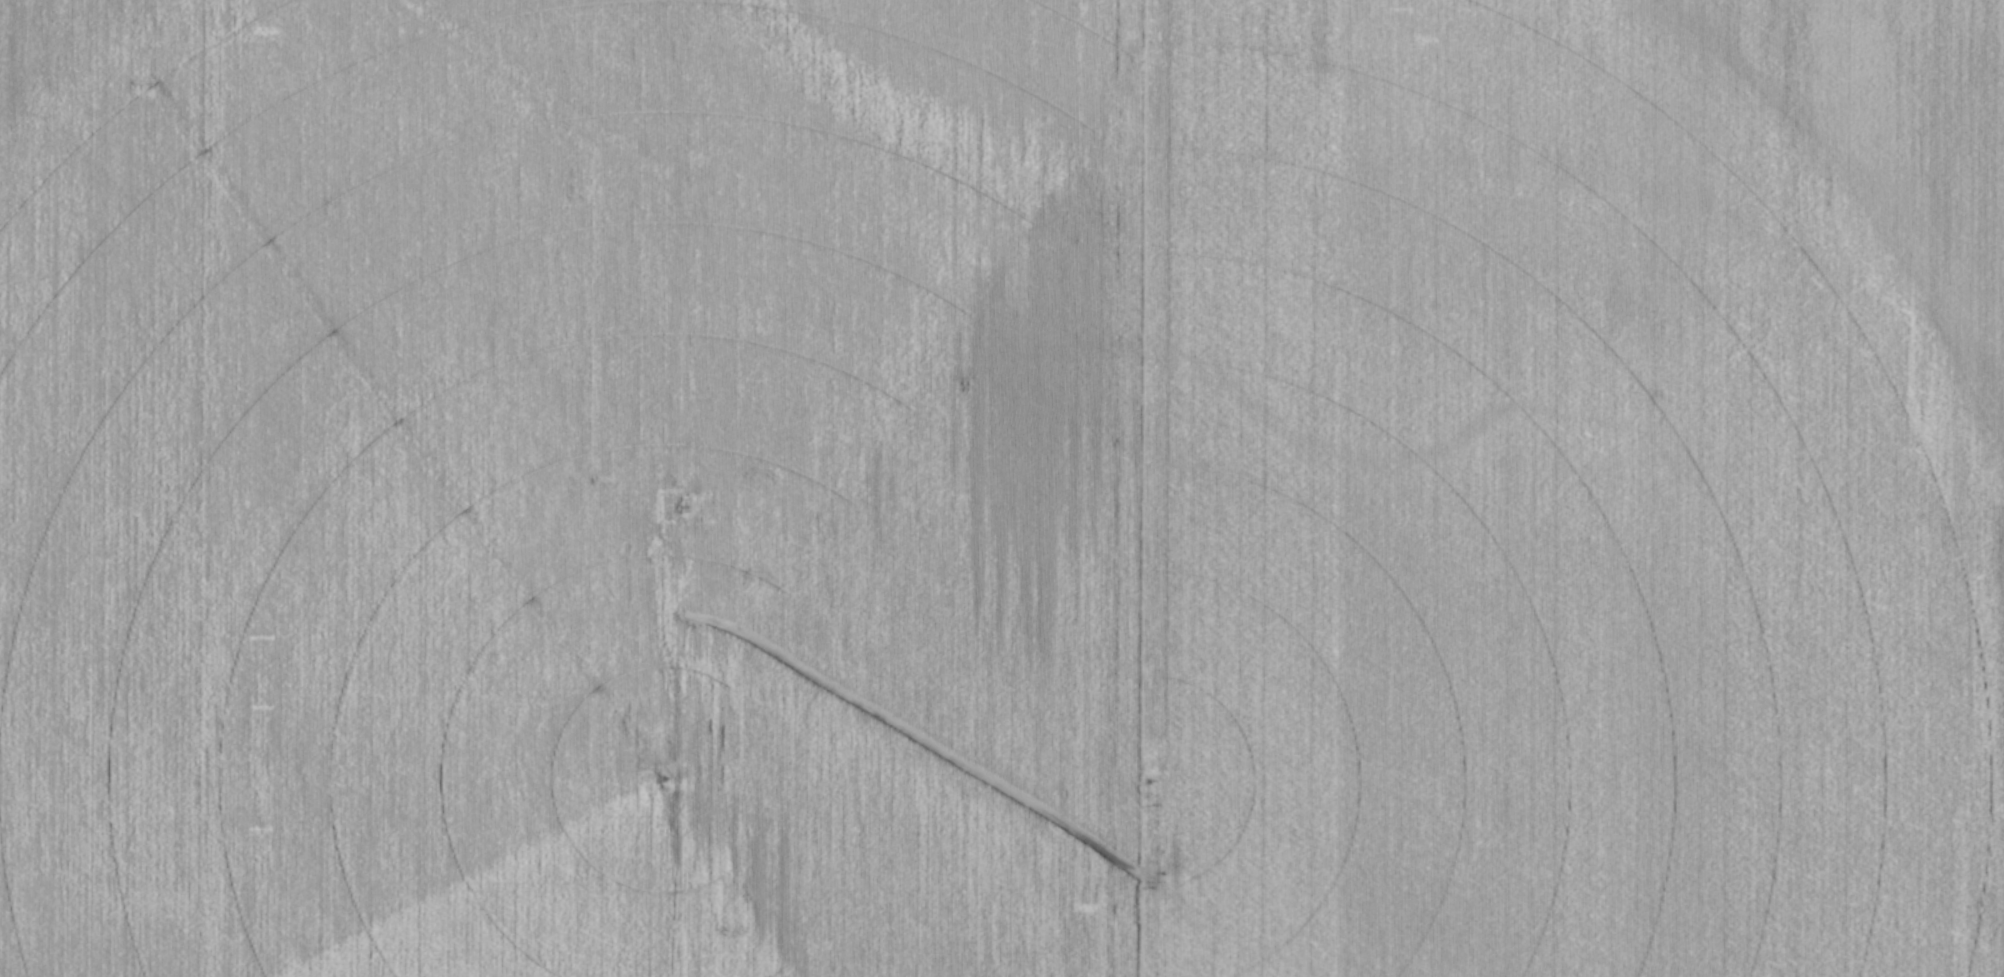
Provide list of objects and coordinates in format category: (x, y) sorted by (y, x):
crop: (1002, 488)

